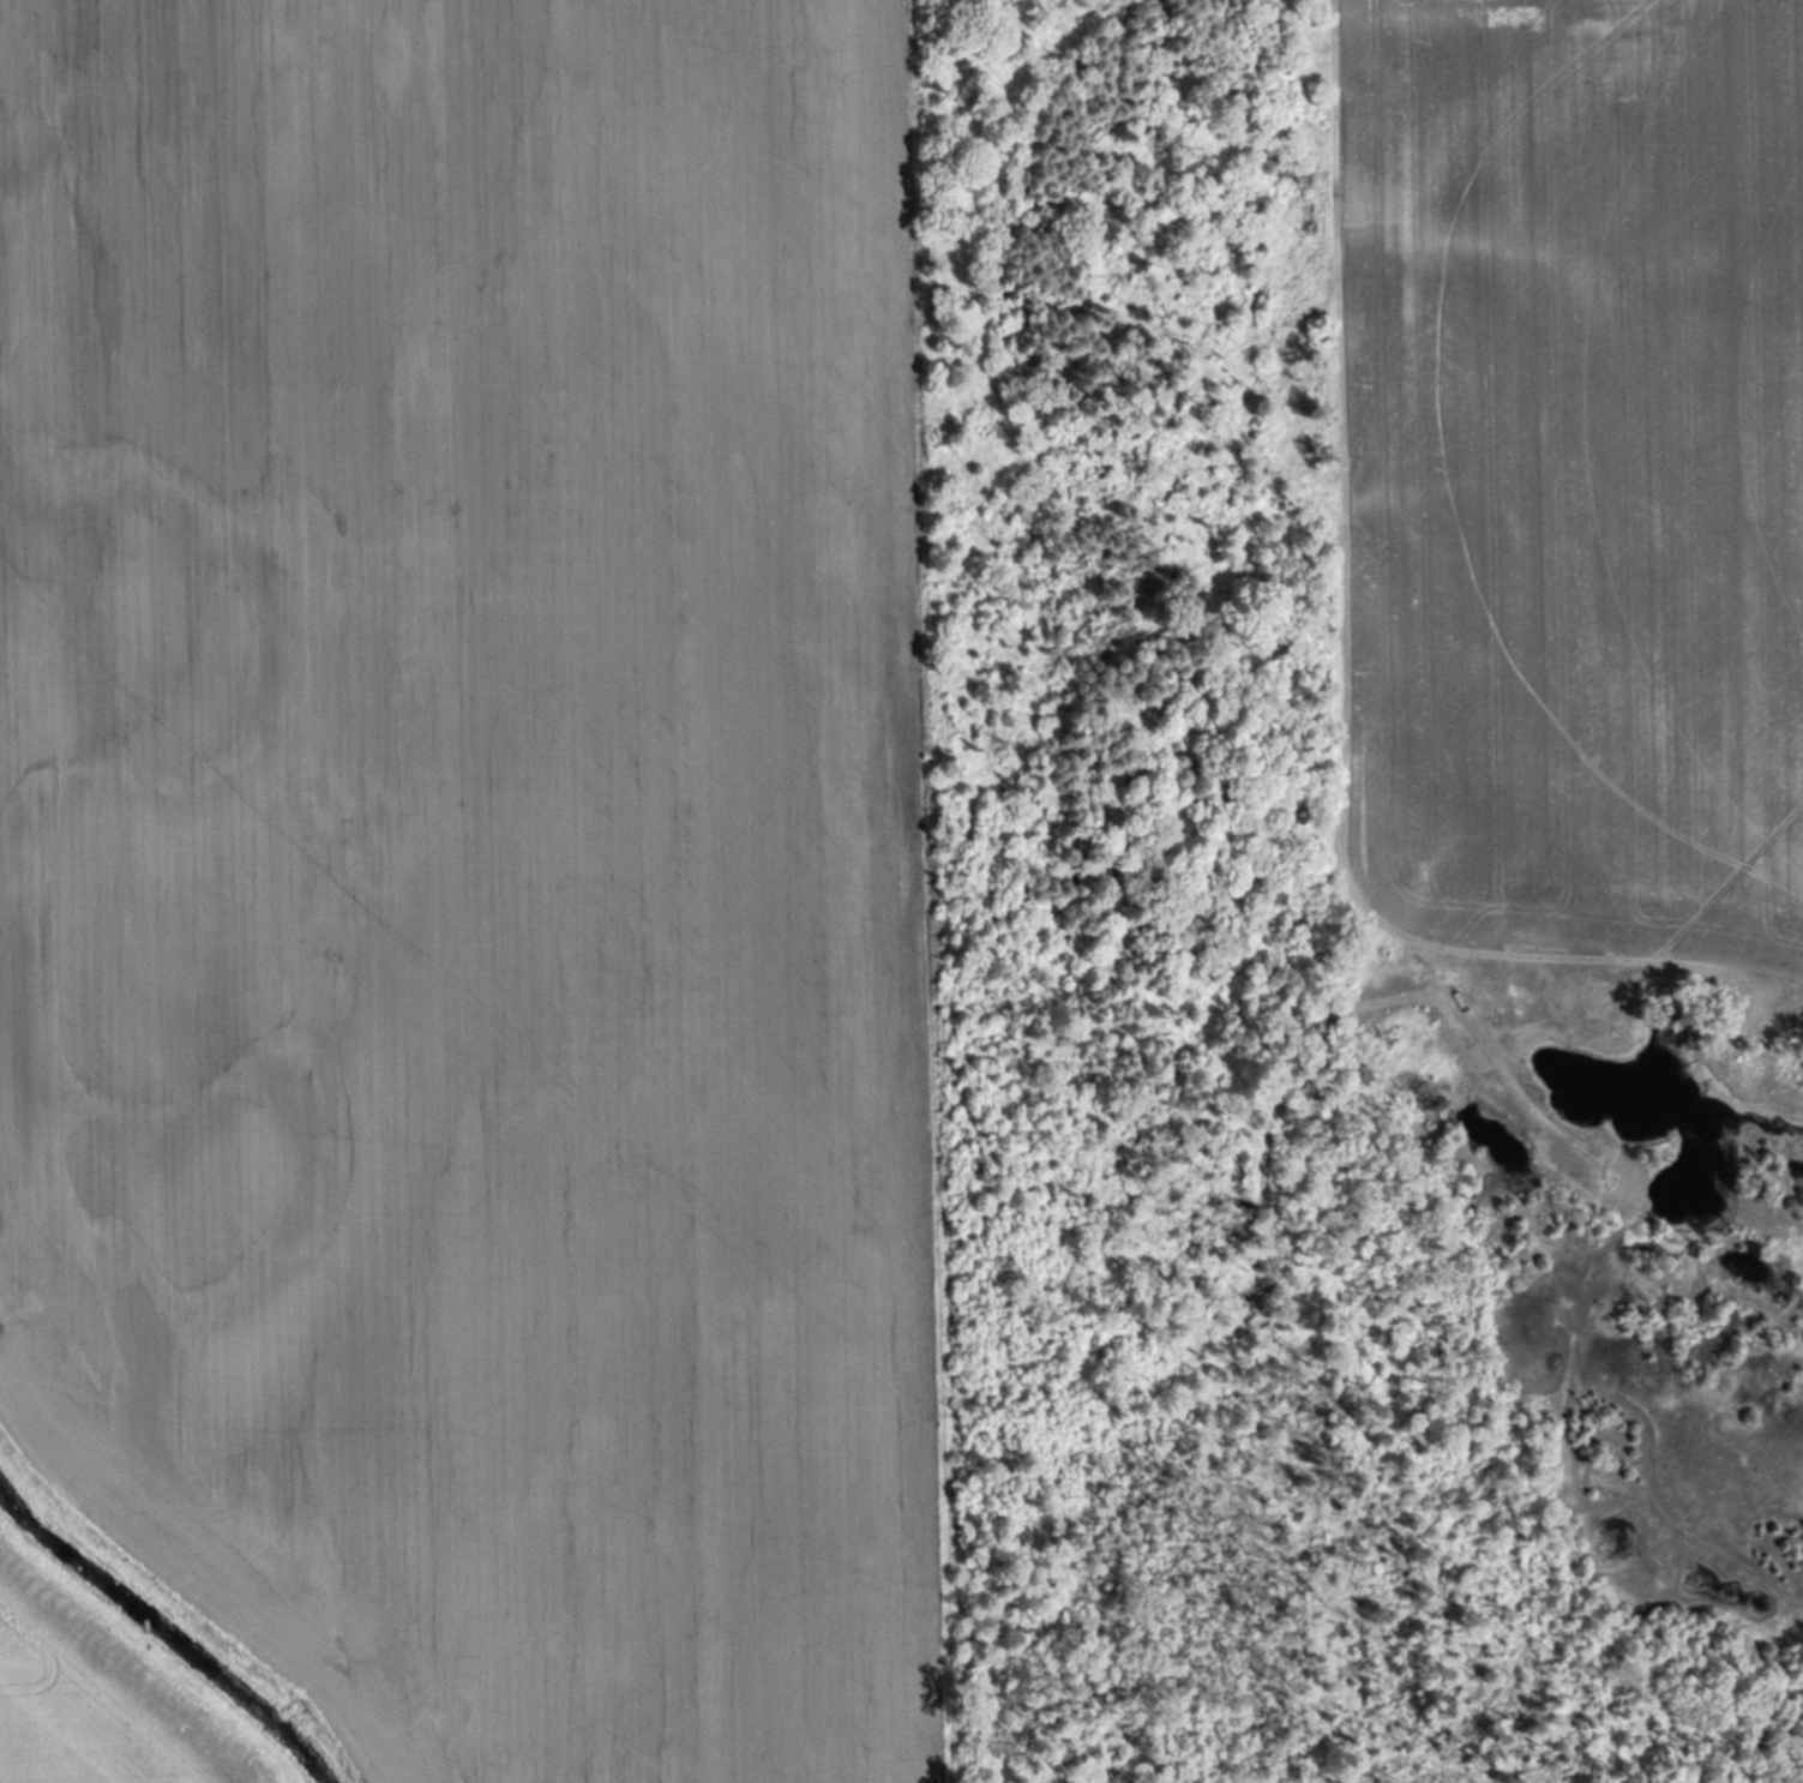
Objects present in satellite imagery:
road: (1767, 550)

